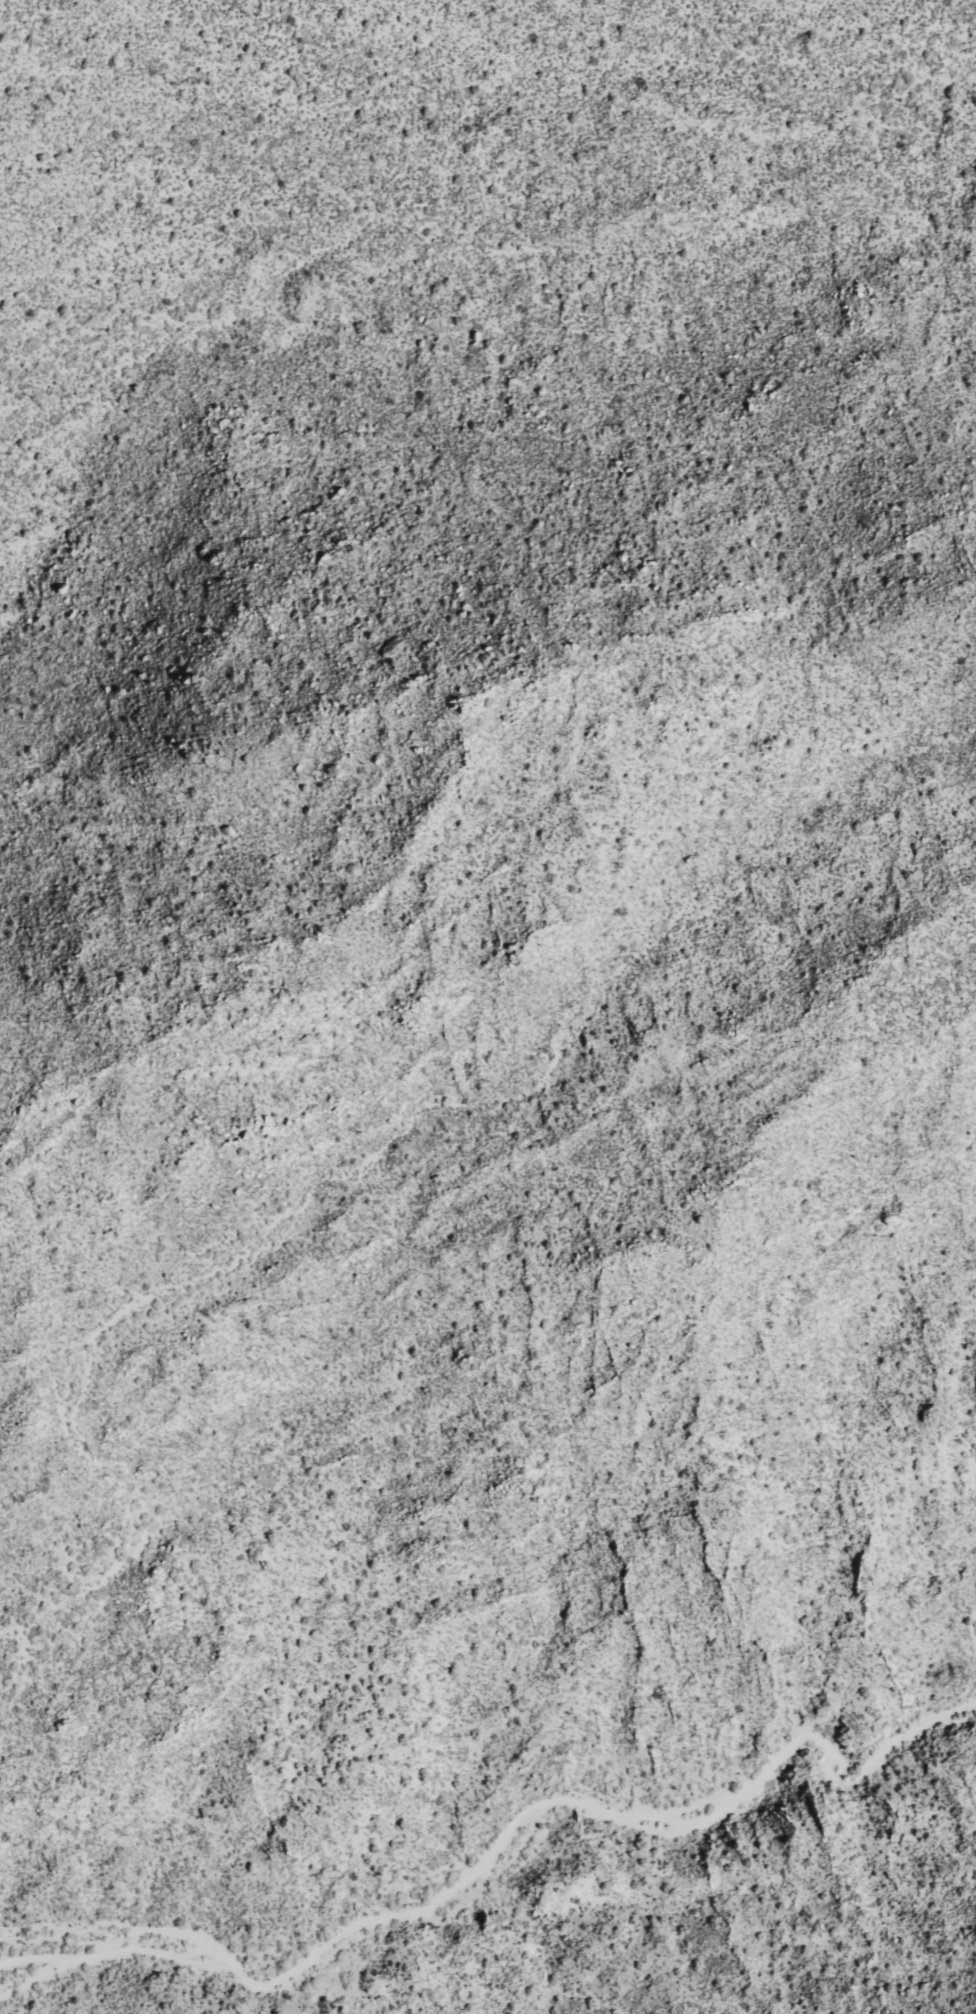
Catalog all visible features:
road: (507, 1831)

